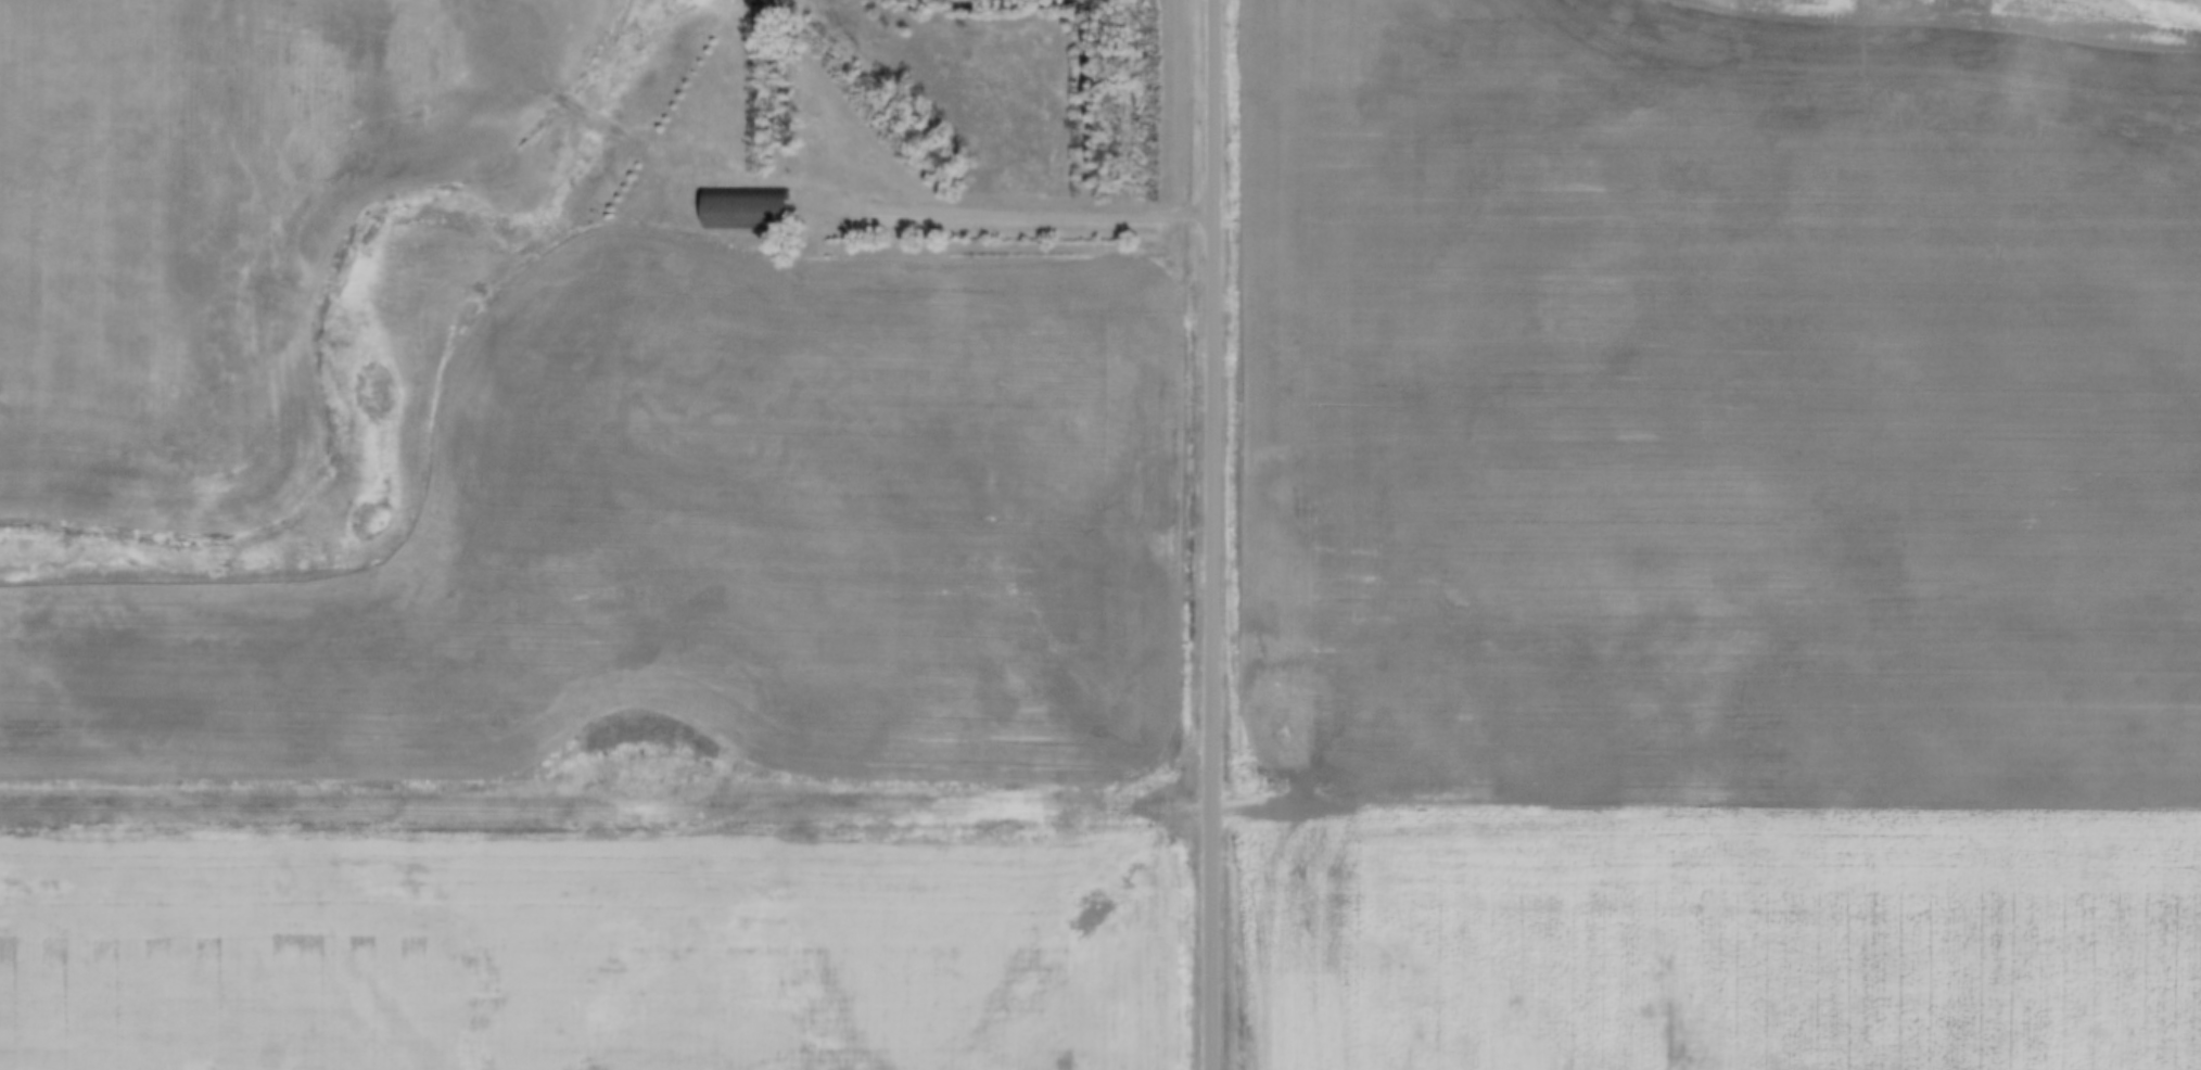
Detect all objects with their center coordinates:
building: (747, 207)
road: (1005, 212)
road: (1212, 534)
road: (607, 810)

